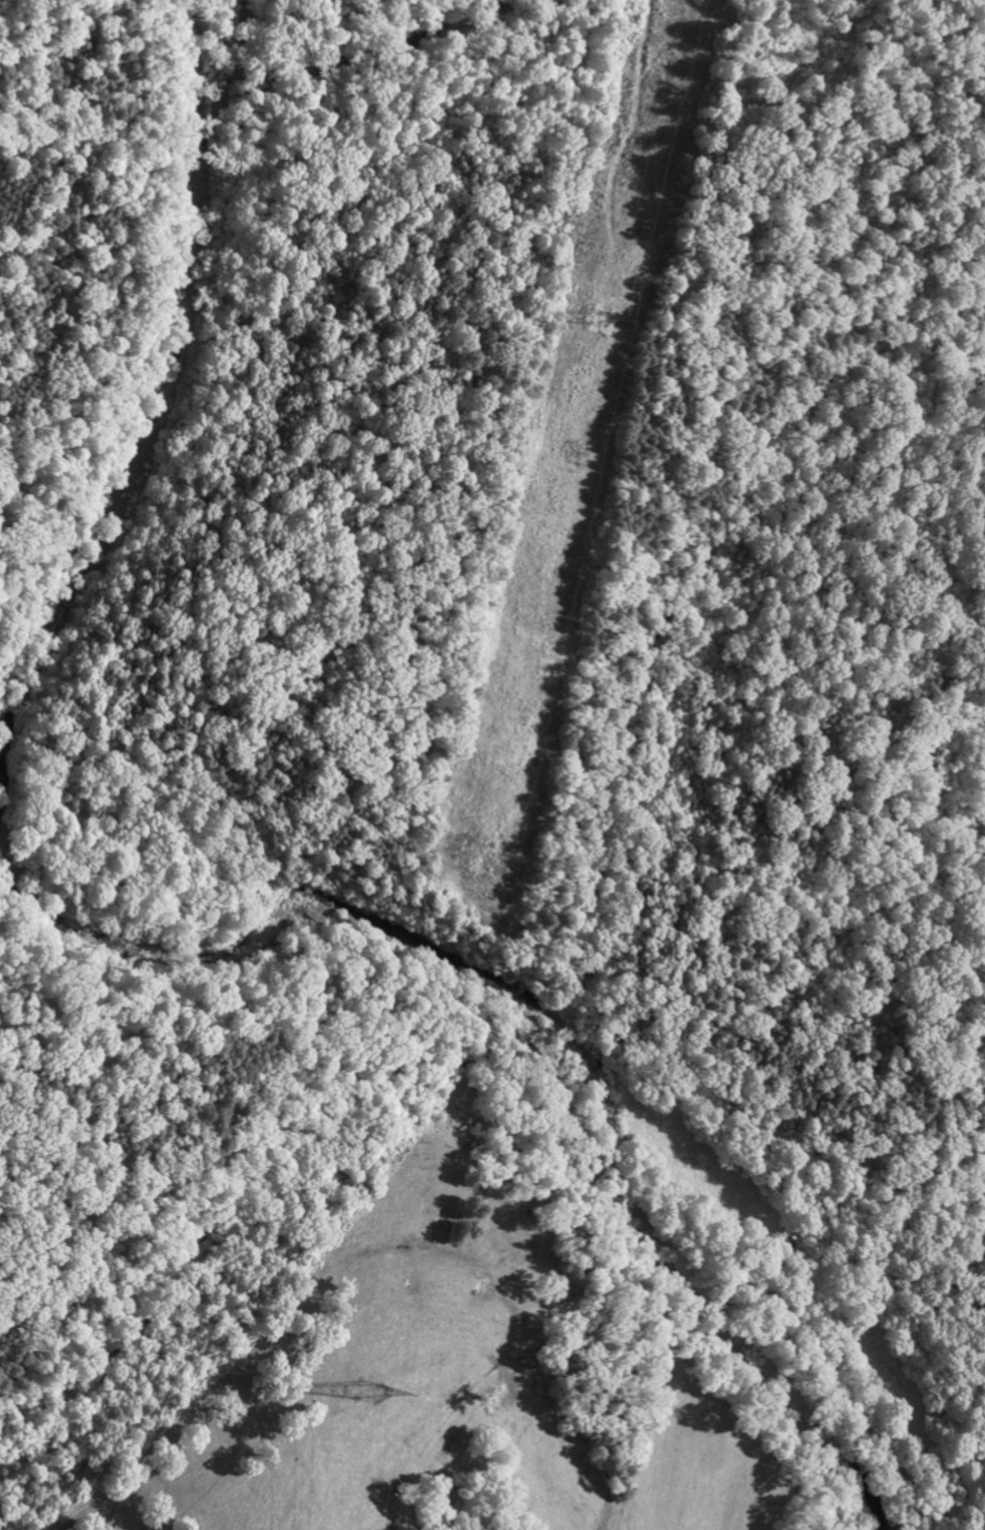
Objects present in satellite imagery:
power tower: (597, 317)
power tower: (371, 1394)

